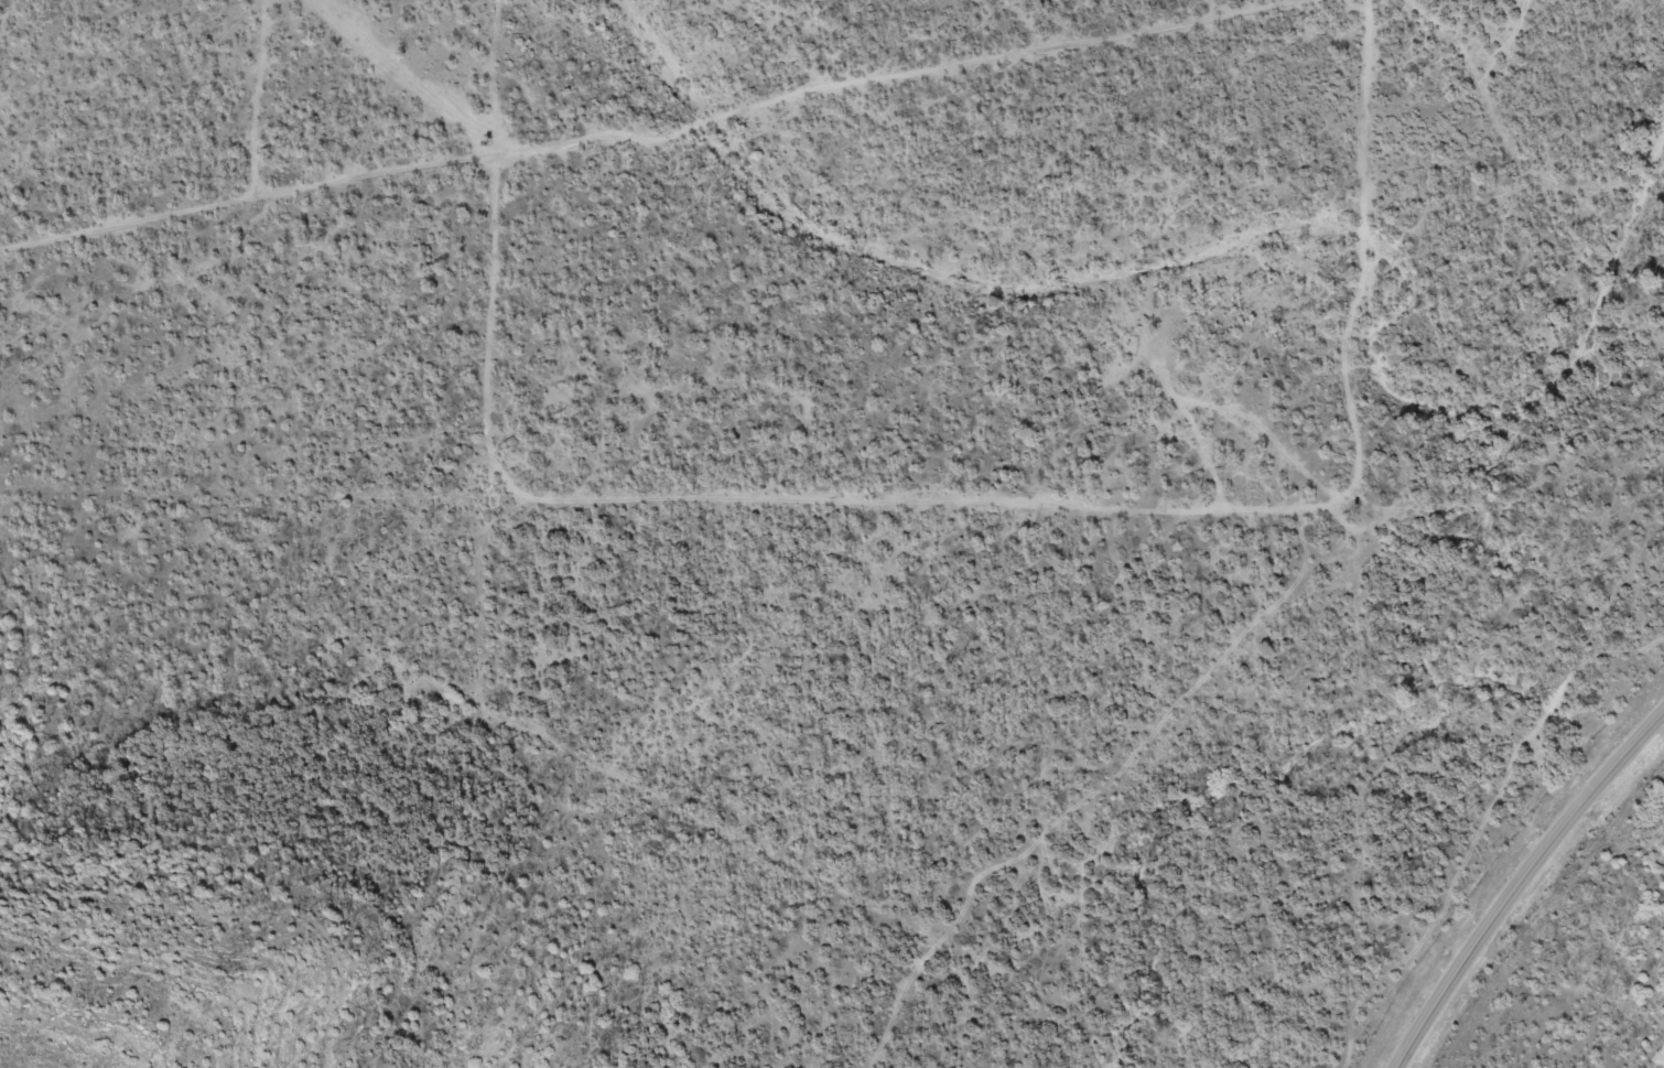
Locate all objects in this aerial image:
road: (1521, 881)

